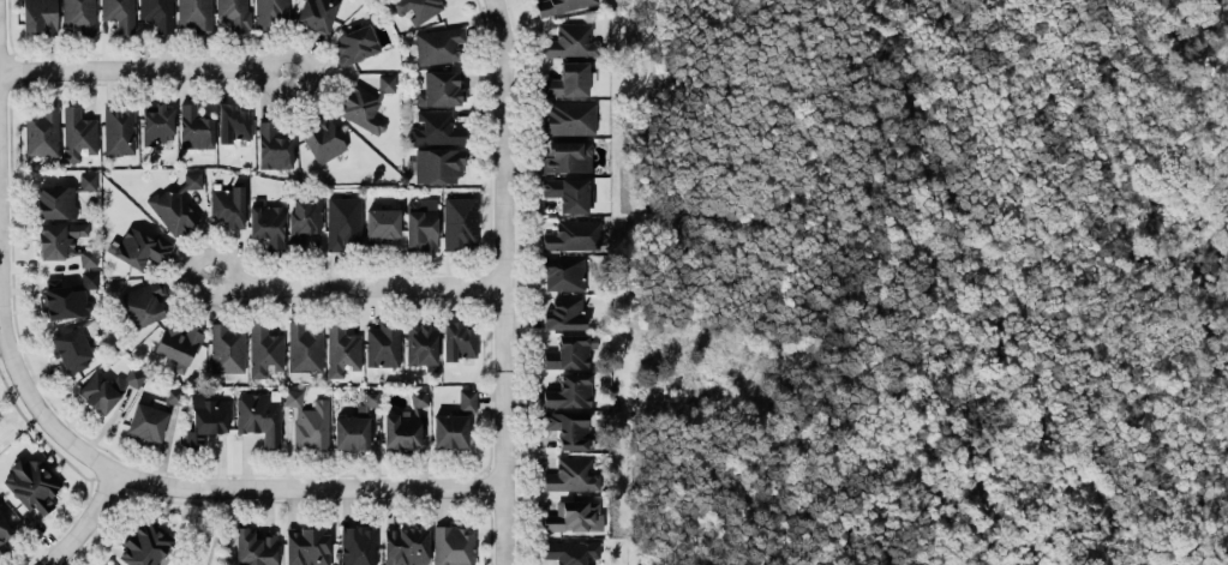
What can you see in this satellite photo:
building: (558, 5)
building: (417, 8)
building: (119, 13)
building: (156, 13)
building: (233, 13)
building: (271, 13)
building: (316, 13)
building: (79, 14)
building: (193, 14)
building: (38, 16)
building: (571, 38)
building: (354, 43)
building: (436, 43)
road: (144, 70)
building: (568, 77)
building: (385, 82)
building: (441, 85)
building: (361, 107)
building: (569, 116)
building: (233, 120)
building: (156, 122)
building: (194, 125)
building: (436, 126)
building: (119, 127)
building: (42, 130)
building: (77, 131)
building: (322, 137)
building: (272, 144)
building: (567, 155)
building: (437, 163)
building: (191, 179)
building: (88, 180)
building: (569, 192)
building: (55, 200)
building: (228, 204)
building: (173, 209)
building: (304, 218)
building: (342, 221)
building: (420, 222)
building: (460, 222)
building: (268, 224)
building: (379, 224)
building: (571, 234)
building: (59, 236)
building: (140, 245)
building: (88, 256)
building: (563, 272)
building: (89, 277)
road: (517, 281)
road: (503, 282)
park: (921, 282)
road: (355, 285)
building: (62, 296)
building: (145, 301)
building: (564, 312)
building: (459, 338)
building: (420, 341)
building: (178, 342)
building: (382, 342)
building: (226, 347)
building: (341, 347)
building: (71, 348)
building: (264, 348)
building: (302, 348)
building: (570, 349)
building: (133, 375)
building: (97, 390)
building: (568, 390)
building: (370, 396)
building: (419, 396)
building: (467, 398)
building: (151, 414)
building: (258, 415)
building: (205, 417)
building: (309, 419)
building: (401, 427)
building: (567, 427)
building: (449, 428)
building: (351, 431)
building: (570, 473)
building: (31, 482)
road: (112, 485)
road: (208, 487)
building: (574, 515)
road: (83, 522)
building: (4, 530)
building: (145, 542)
building: (355, 543)
building: (453, 543)
building: (306, 545)
building: (405, 545)
building: (253, 546)
building: (568, 552)
building: (104, 561)

